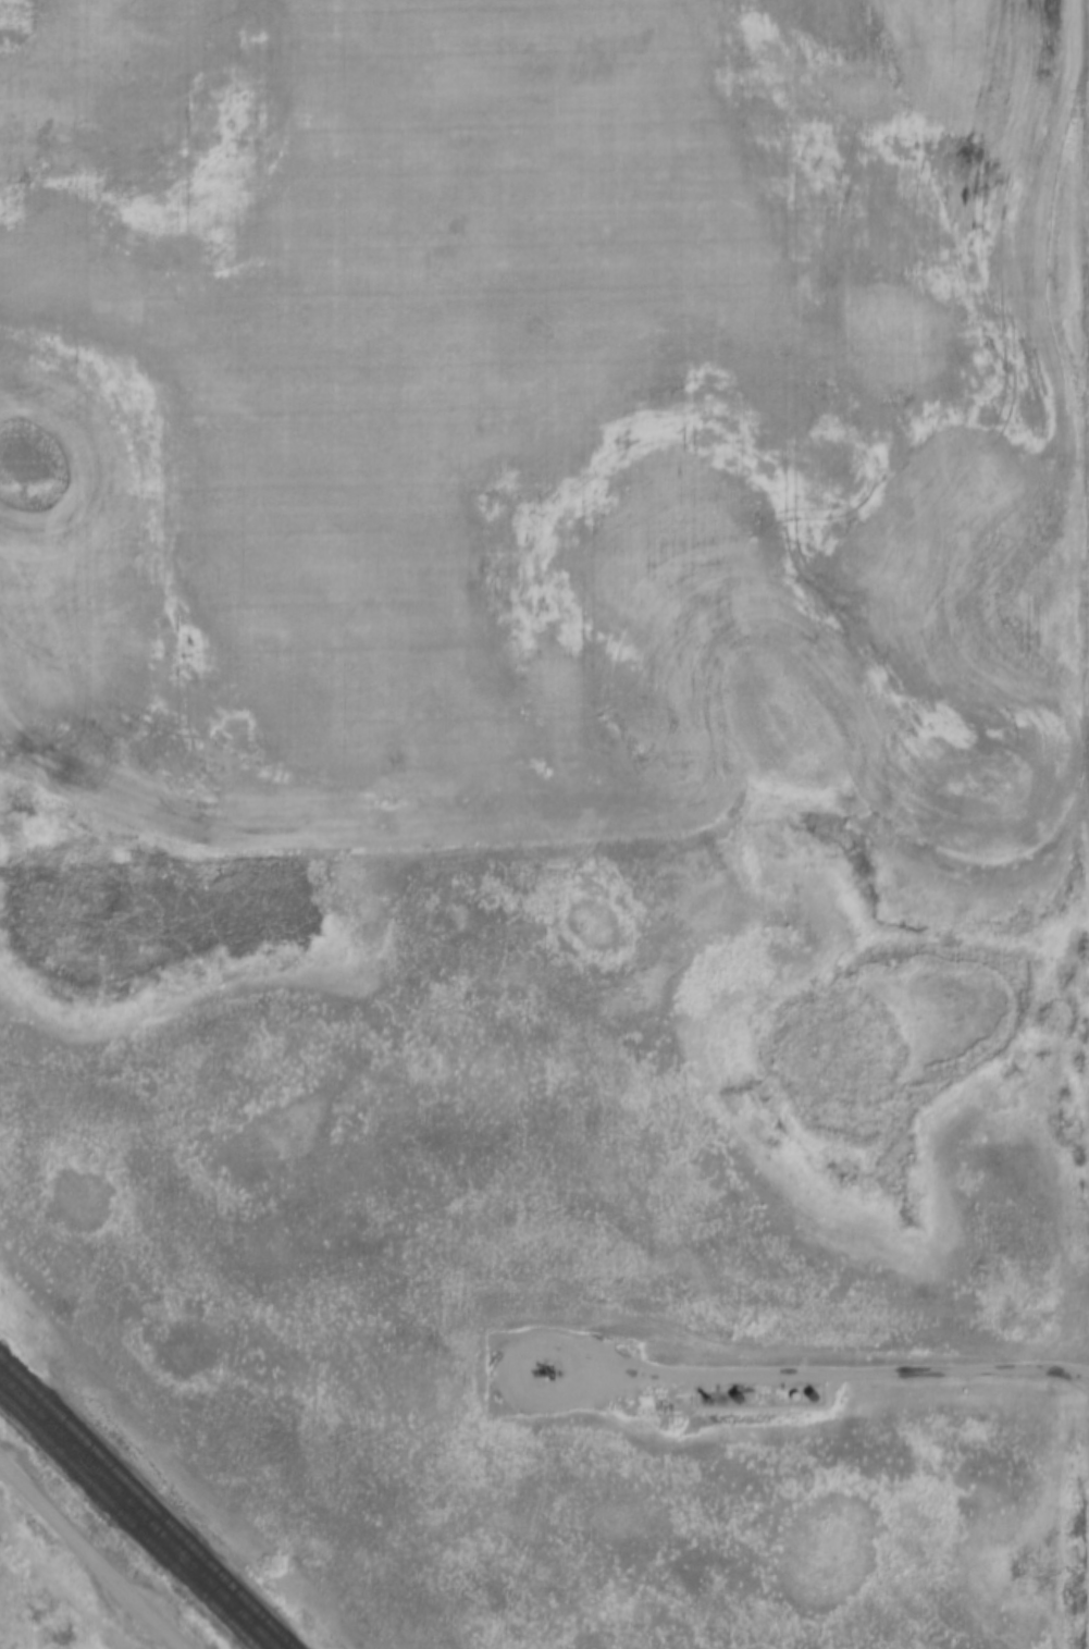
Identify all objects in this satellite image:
road: (819, 1376)
railway: (148, 1501)
railway: (138, 1511)
railway: (129, 1519)
road: (90, 1558)

